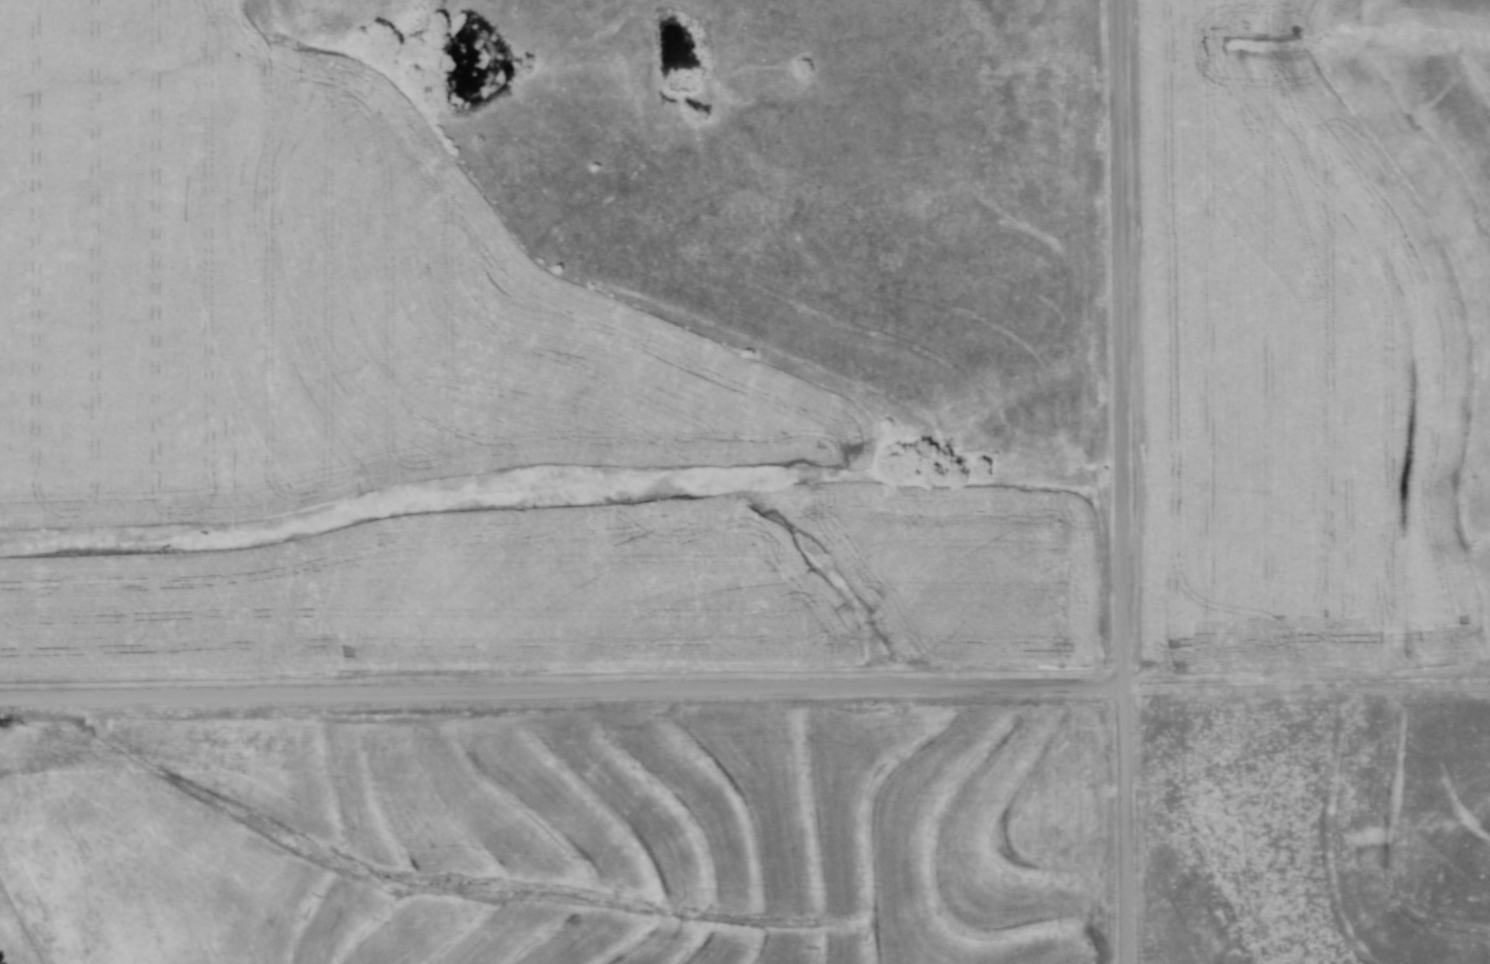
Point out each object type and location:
road: (1123, 481)
road: (563, 694)

